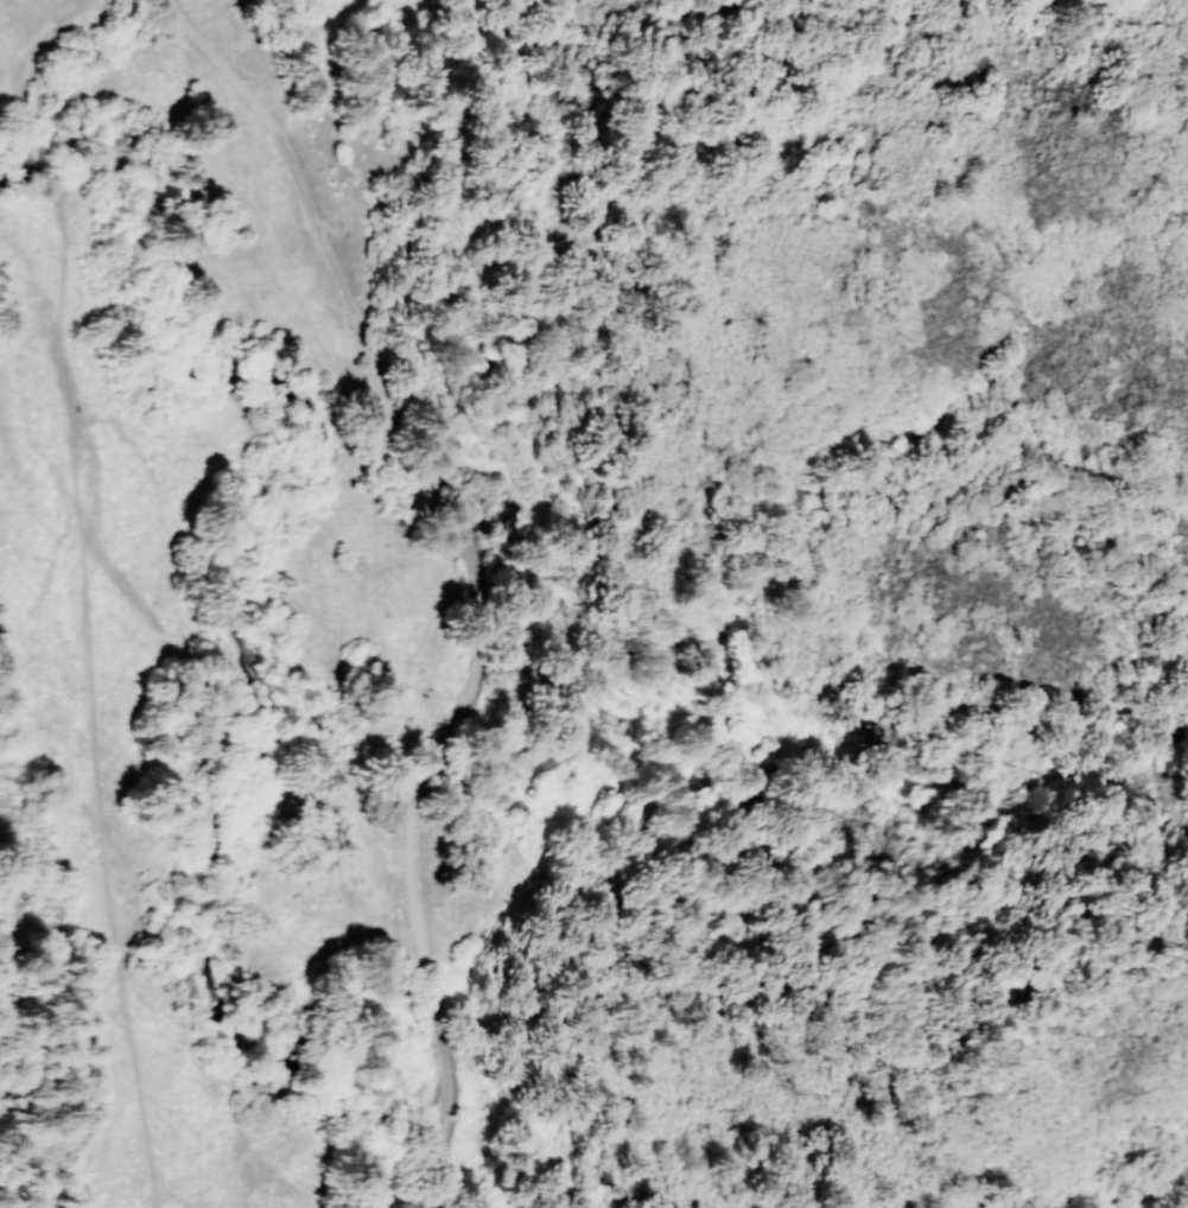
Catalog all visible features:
road: (483, 567)
road: (75, 590)

